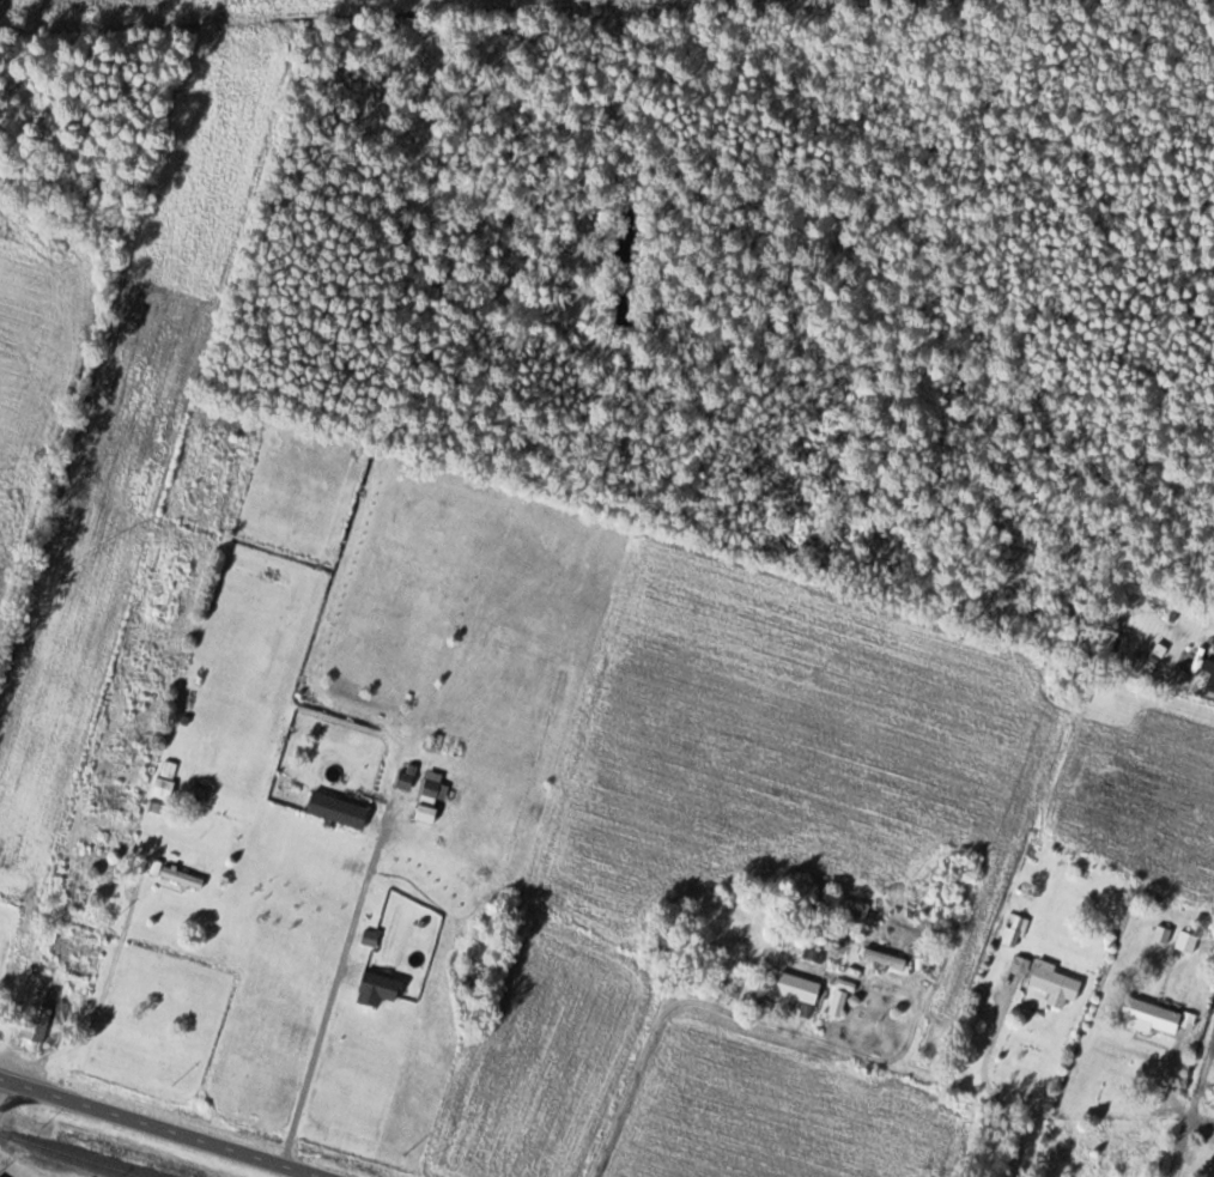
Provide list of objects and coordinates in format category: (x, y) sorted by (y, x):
building: (1210, 682)
building: (405, 781)
building: (435, 787)
building: (198, 794)
building: (111, 805)
building: (336, 811)
building: (181, 876)
building: (942, 888)
building: (852, 915)
building: (1015, 930)
building: (1186, 942)
building: (814, 957)
building: (885, 958)
building: (77, 969)
building: (1054, 981)
building: (797, 988)
building: (377, 989)
road: (330, 997)
building: (838, 1005)
road: (693, 1011)
building: (1149, 1015)
building: (35, 1029)
road: (1042, 1109)
road: (1192, 1114)
road: (156, 1128)
railway: (72, 1154)

